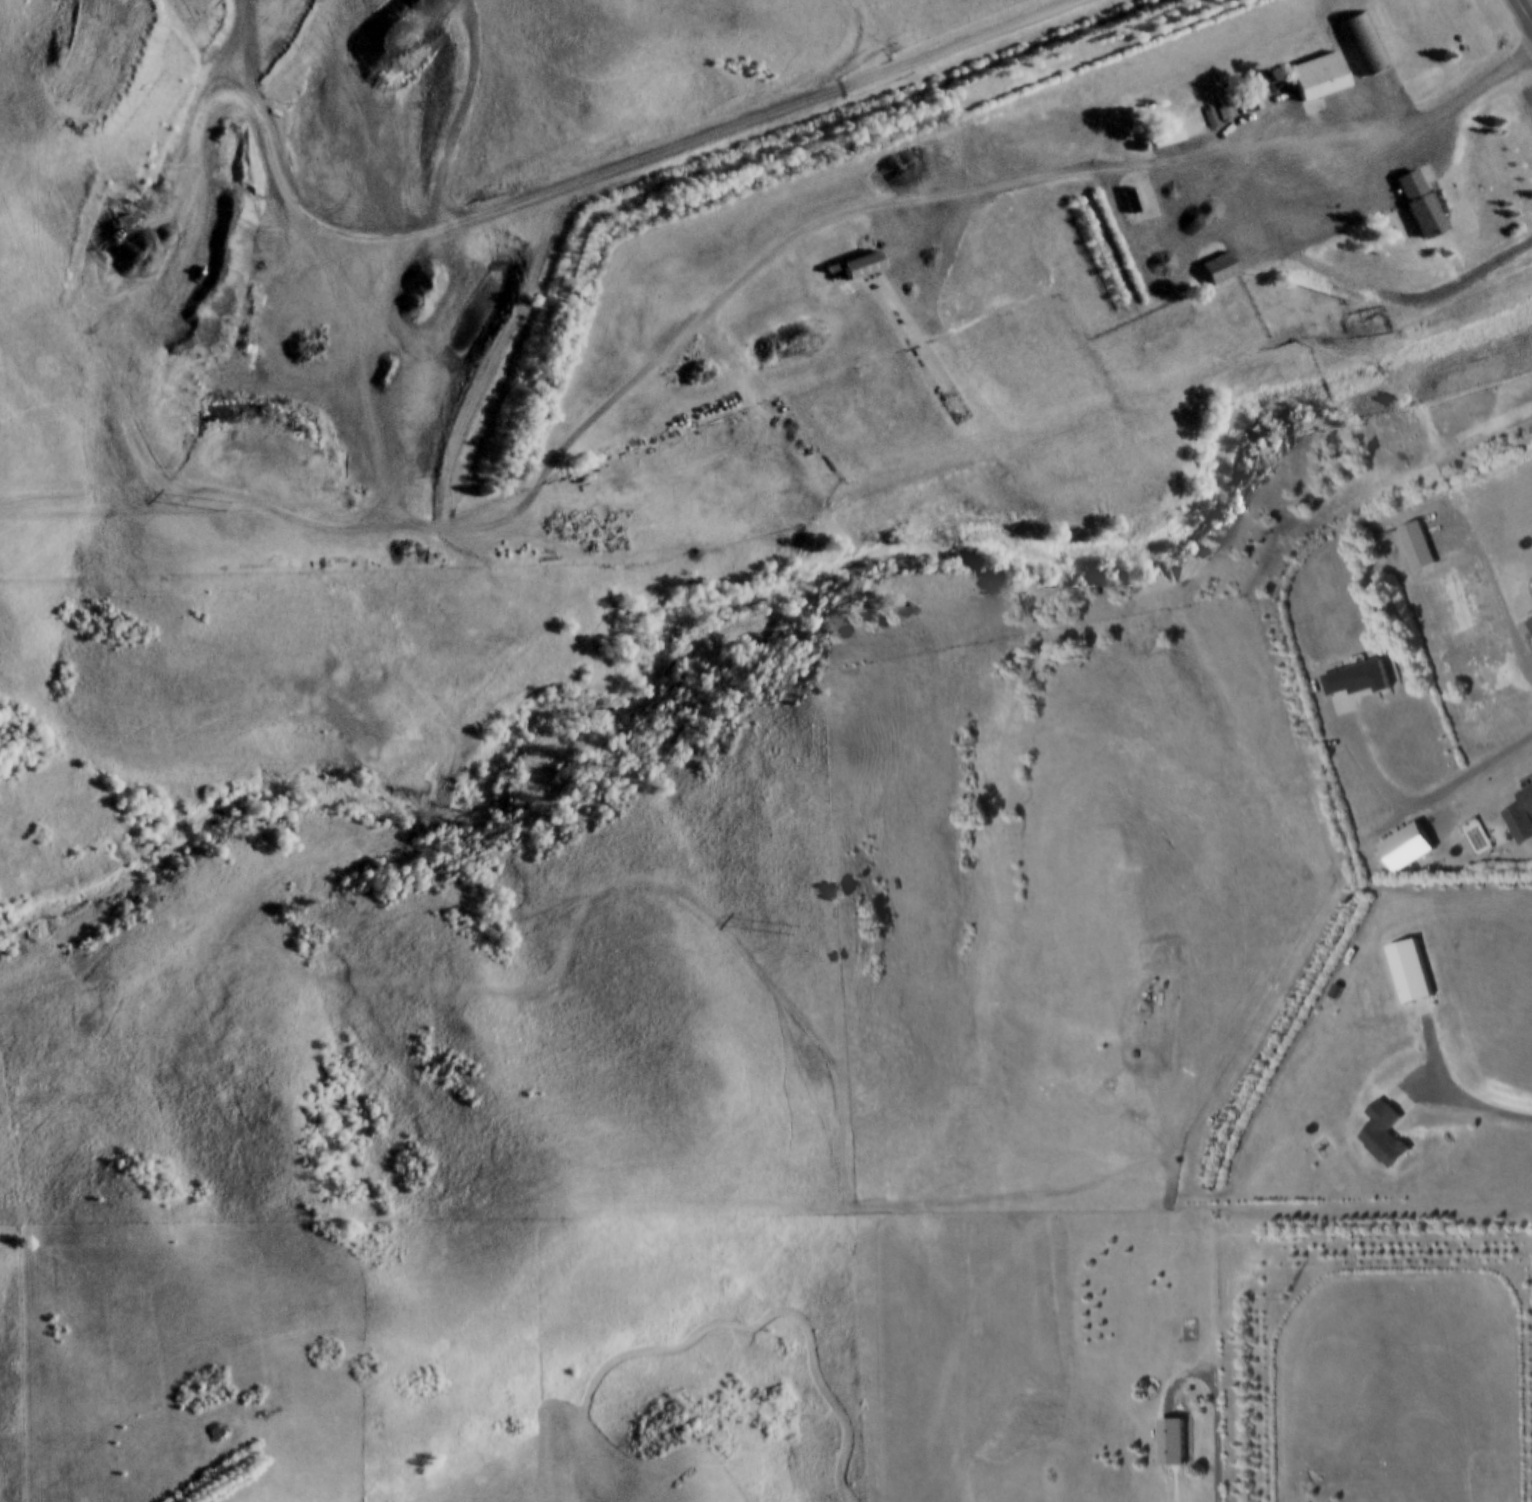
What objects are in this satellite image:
road: (1526, 9)
building: (1361, 45)
building: (1318, 83)
building: (1249, 101)
road: (743, 128)
road: (1209, 147)
building: (1131, 202)
building: (1418, 206)
road: (1284, 251)
quarry: (320, 254)
building: (860, 268)
building: (1218, 270)
road: (1408, 296)
road: (542, 476)
power tower: (229, 506)
building: (1414, 547)
road: (1494, 599)
building: (1530, 626)
building: (1354, 681)
road: (1452, 788)
building: (1521, 820)
building: (1405, 850)
power tower: (798, 931)
building: (1409, 975)
road: (1458, 1100)
building: (1381, 1137)
power tower: (1288, 1297)

